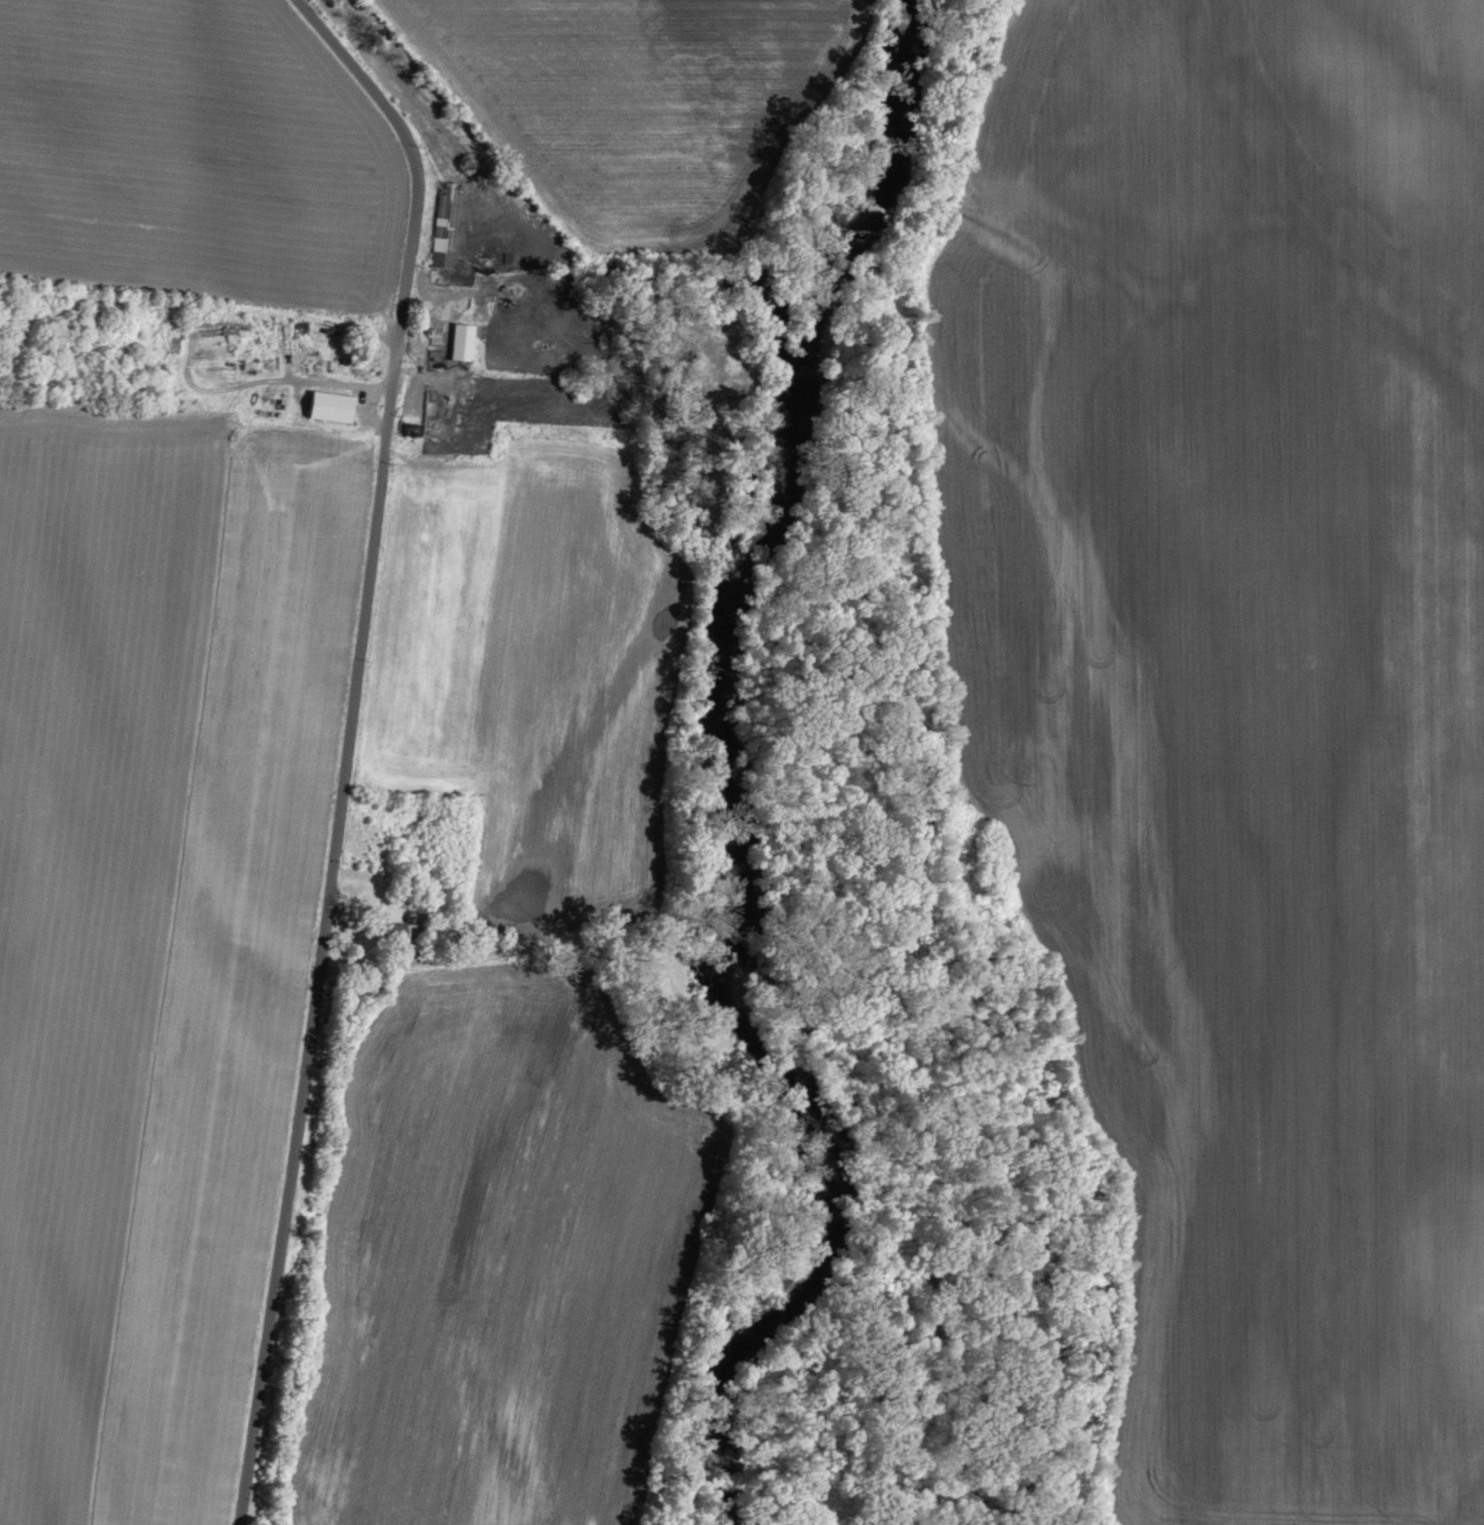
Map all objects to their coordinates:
building: (448, 223)
building: (466, 341)
building: (335, 405)
road: (347, 743)
road: (497, 954)
road: (378, 964)

